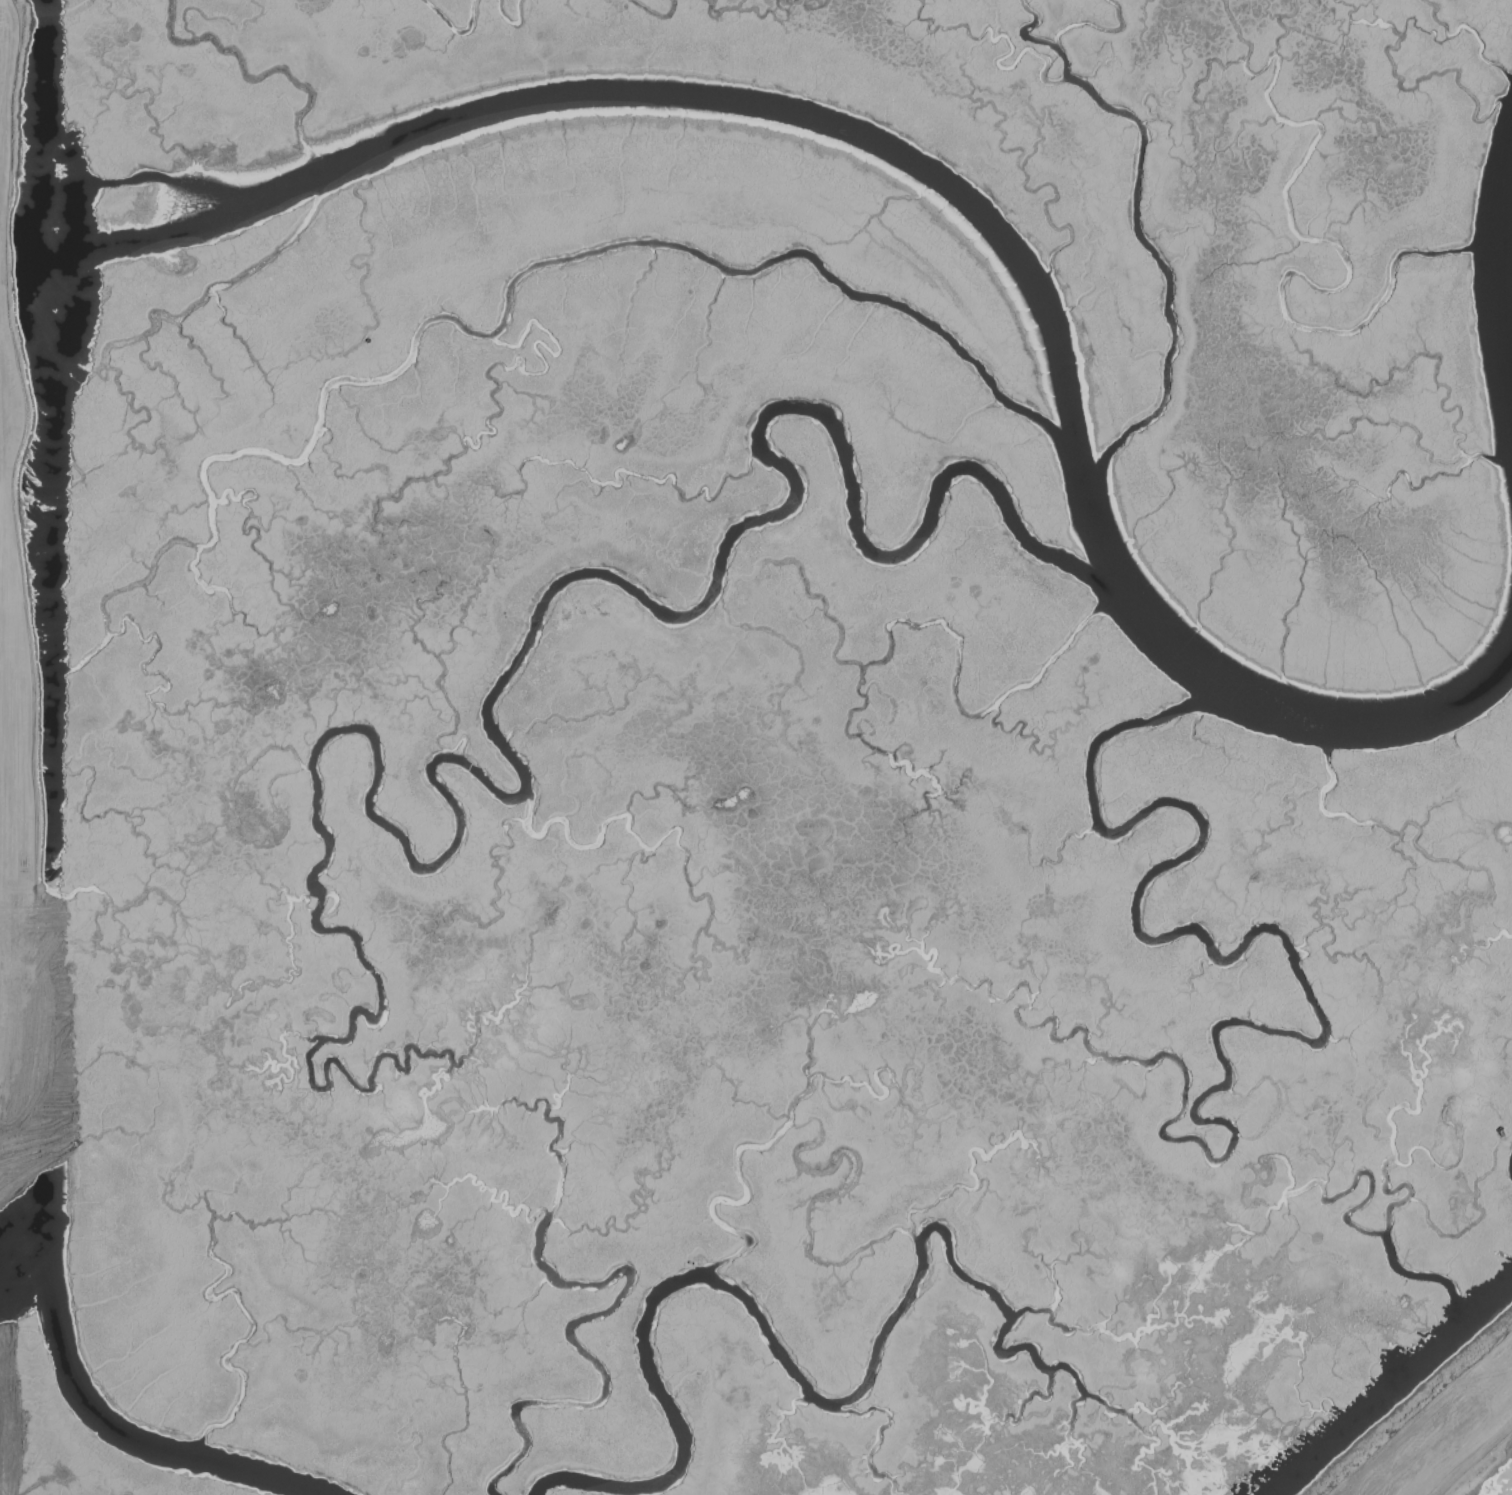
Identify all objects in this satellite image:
road: (1426, 1417)
road: (1467, 1455)

